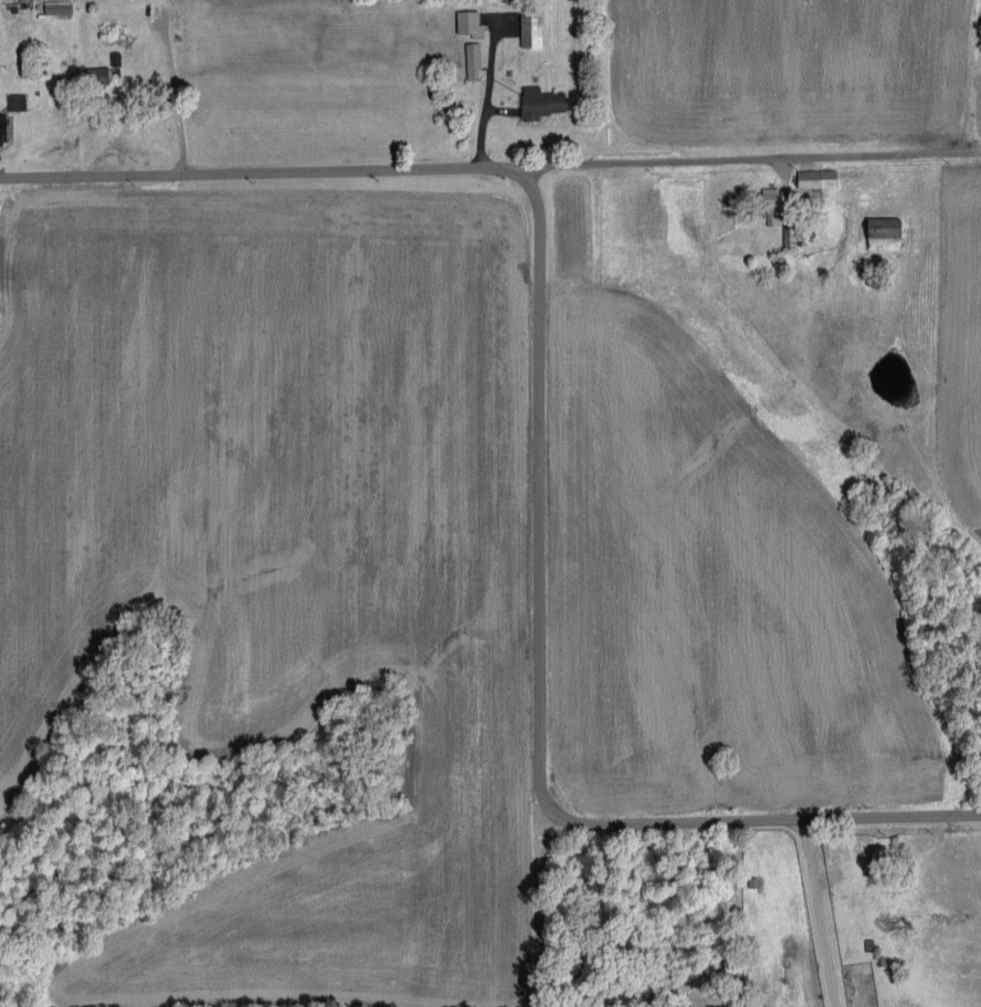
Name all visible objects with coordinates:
building: (470, 23)
building: (531, 28)
building: (474, 60)
building: (99, 74)
road: (171, 88)
building: (16, 101)
building: (542, 102)
building: (3, 126)
road: (749, 159)
road: (258, 171)
building: (818, 178)
building: (773, 206)
building: (886, 233)
building: (790, 235)
road: (534, 609)
road: (890, 809)
road: (820, 908)

